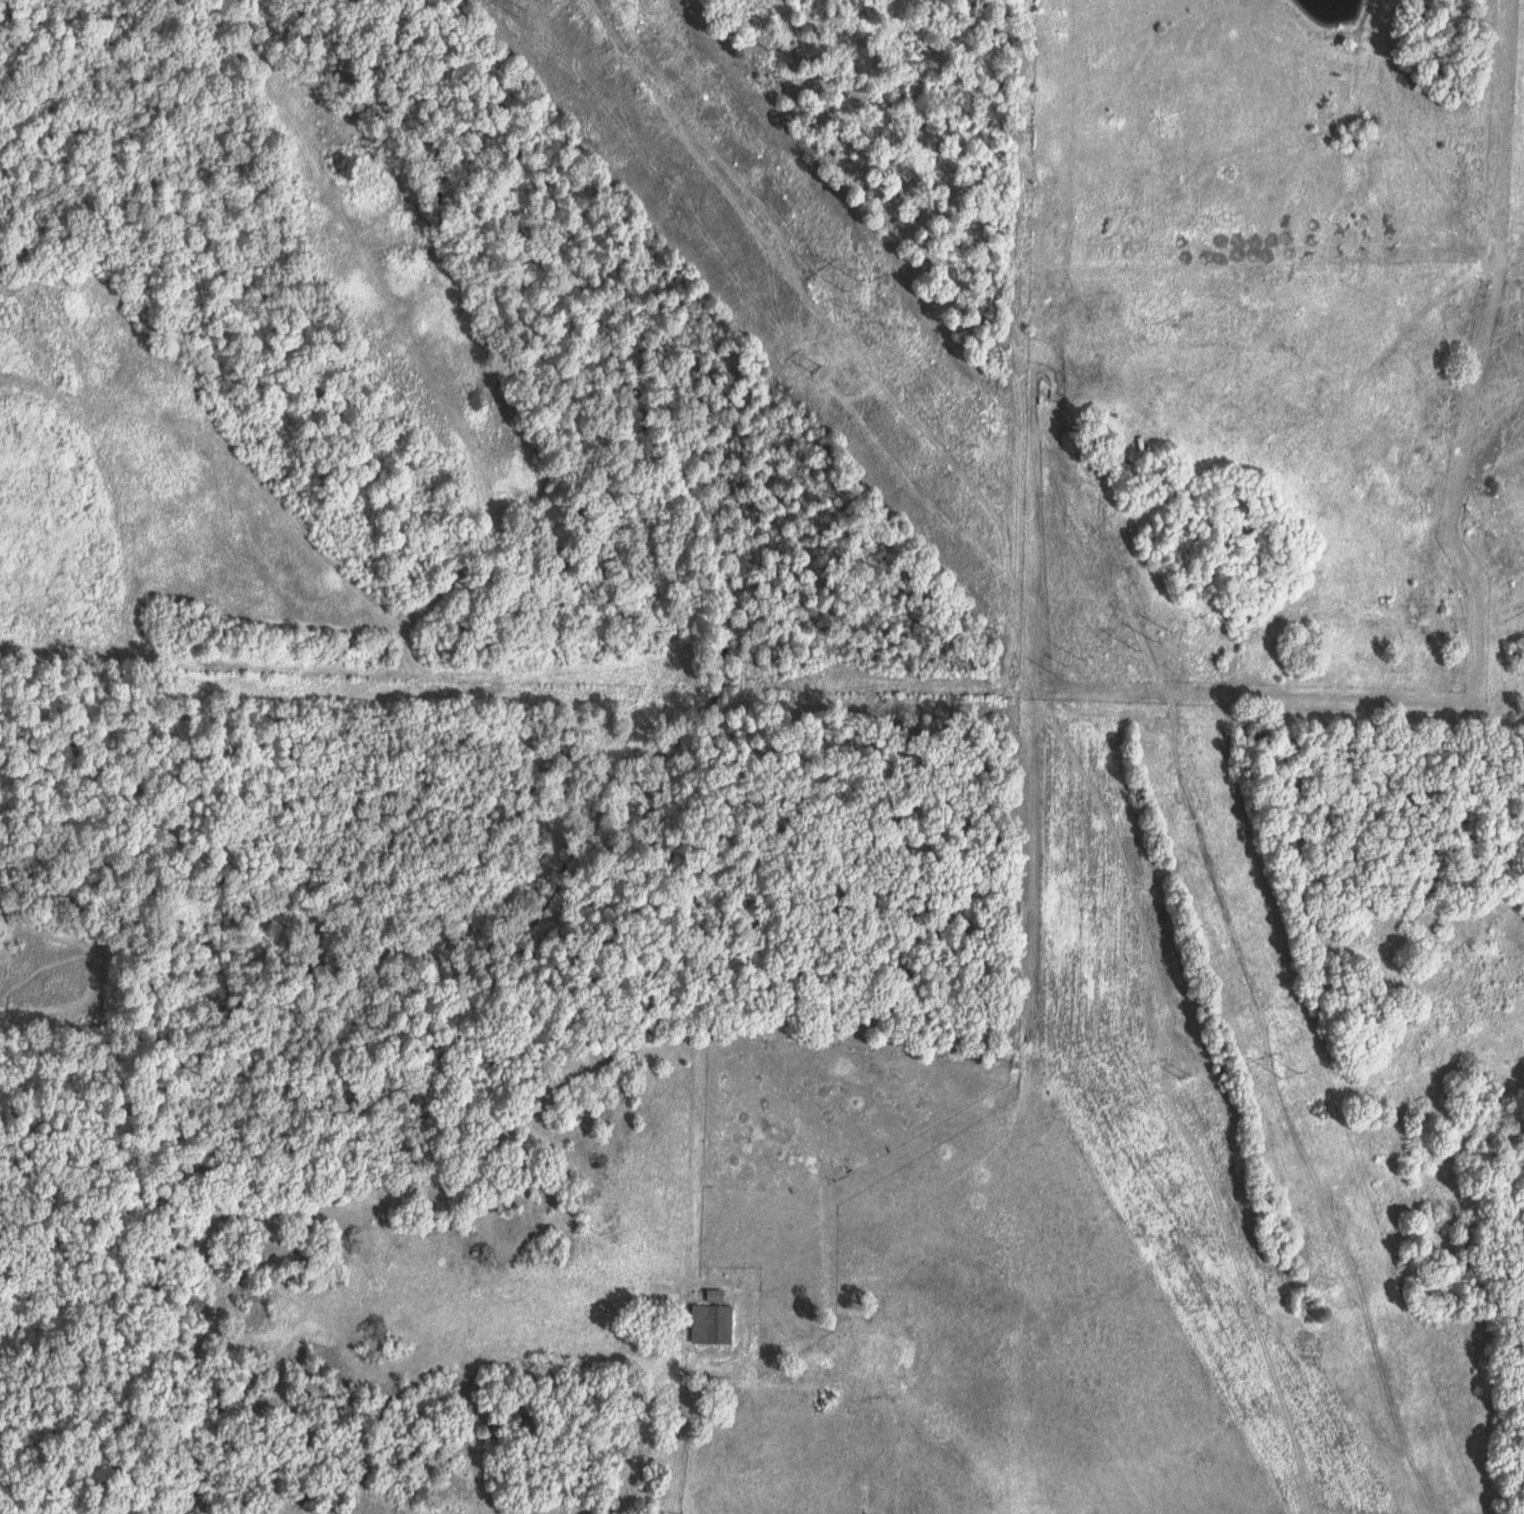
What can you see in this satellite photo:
power tower: (519, 12)
power tower: (850, 286)
power tower: (823, 374)
power tower: (1155, 639)
power tower: (1065, 663)
power tower: (1182, 1072)
power tower: (1286, 1074)
building: (713, 1323)

